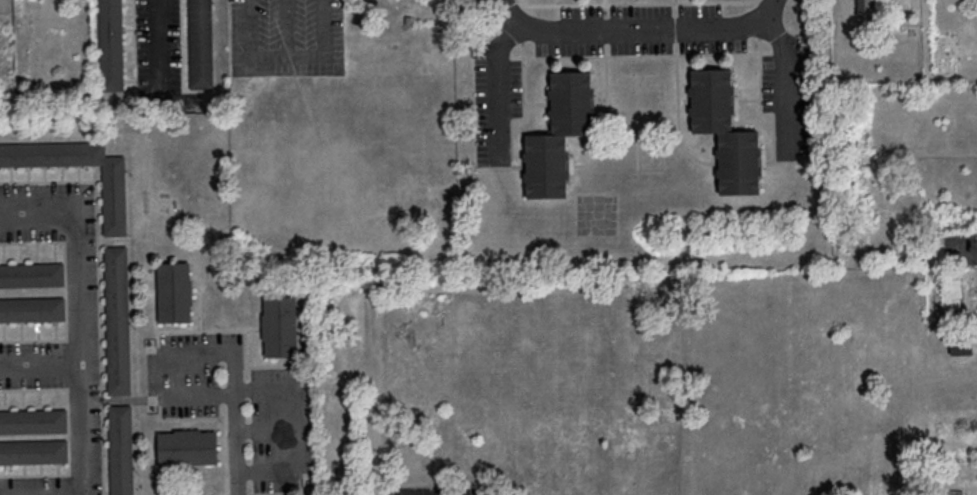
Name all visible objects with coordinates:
road: (604, 1)
road: (675, 1)
road: (639, 2)
road: (522, 4)
road: (506, 5)
building: (865, 6)
road: (760, 18)
road: (627, 23)
road: (523, 24)
building: (201, 43)
road: (323, 44)
building: (111, 45)
road: (158, 45)
road: (778, 50)
road: (641, 54)
road: (269, 55)
road: (502, 56)
road: (786, 87)
road: (494, 97)
building: (712, 99)
building: (571, 101)
road: (760, 105)
road: (523, 107)
road: (790, 160)
building: (739, 161)
building: (546, 164)
road: (505, 166)
road: (48, 179)
building: (114, 199)
road: (39, 209)
road: (968, 254)
building: (32, 274)
road: (98, 279)
road: (66, 290)
building: (174, 291)
building: (32, 308)
building: (117, 320)
building: (280, 325)
road: (200, 329)
building: (962, 346)
road: (81, 352)
road: (41, 364)
road: (257, 365)
road: (165, 367)
parking lot: (193, 370)
road: (159, 374)
road: (102, 398)
road: (125, 398)
road: (225, 399)
road: (185, 417)
road: (297, 419)
building: (33, 420)
road: (235, 427)
road: (267, 429)
road: (69, 430)
parking lot: (282, 430)
building: (188, 446)
road: (103, 449)
building: (121, 449)
road: (227, 449)
building: (34, 451)
road: (250, 471)
road: (285, 491)
road: (262, 494)

